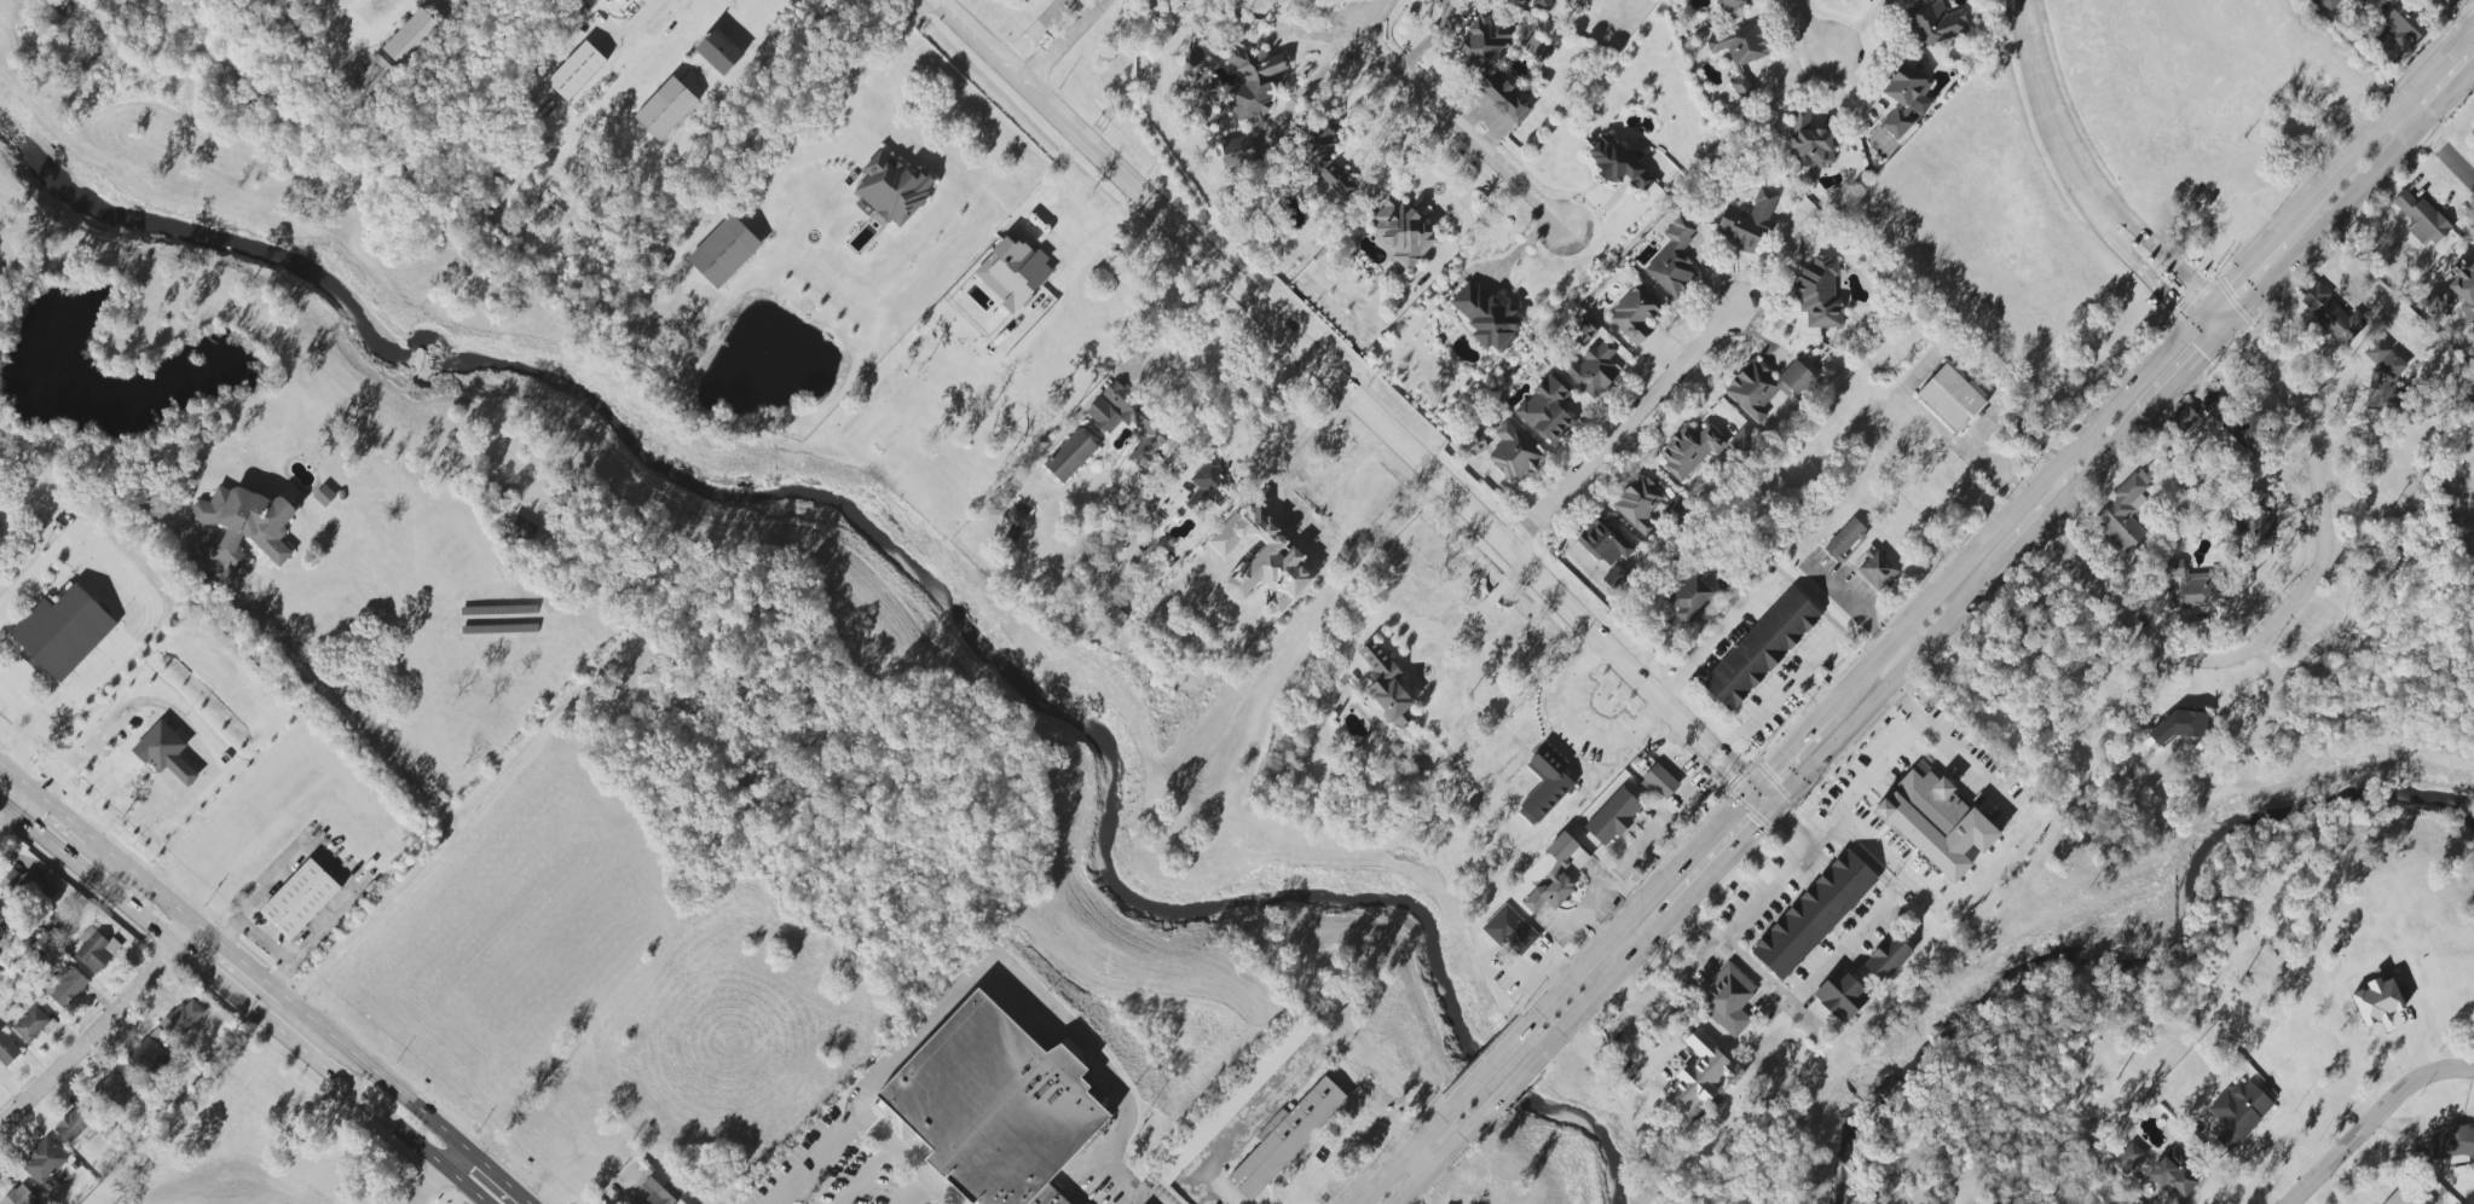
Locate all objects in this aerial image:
building: (270, 0)
building: (2359, 1)
building: (1541, 4)
building: (1733, 4)
building: (2328, 4)
building: (614, 5)
road: (2466, 7)
road: (648, 13)
road: (672, 21)
building: (1933, 23)
road: (1860, 27)
building: (2400, 28)
road: (1807, 29)
road: (1430, 37)
building: (412, 39)
road: (1048, 40)
building: (1739, 45)
building: (718, 51)
building: (1490, 64)
building: (576, 70)
building: (374, 76)
building: (1254, 83)
building: (1741, 87)
road: (2451, 89)
building: (1904, 100)
road: (2042, 100)
building: (665, 109)
road: (1446, 112)
road: (820, 114)
road: (2372, 127)
building: (1809, 141)
building: (1237, 151)
road: (2446, 152)
building: (1323, 163)
building: (1617, 163)
building: (891, 189)
building: (2421, 218)
building: (1747, 220)
road: (2325, 222)
building: (1403, 233)
road: (1097, 236)
road: (2150, 245)
building: (723, 251)
building: (1672, 260)
road: (2133, 261)
road: (2237, 271)
building: (1012, 272)
building: (1817, 294)
building: (2456, 295)
building: (1634, 314)
building: (2331, 314)
building: (1485, 317)
road: (1167, 322)
building: (1590, 361)
road: (1913, 371)
road: (2181, 375)
building: (2382, 378)
building: (1764, 387)
building: (1949, 398)
road: (1352, 405)
building: (1545, 410)
building: (2224, 413)
road: (1239, 415)
building: (1128, 421)
road: (1619, 432)
building: (1741, 440)
building: (1473, 445)
building: (1687, 451)
road: (2111, 451)
building: (1513, 452)
building: (1071, 456)
building: (1209, 488)
building: (323, 494)
building: (341, 494)
building: (1640, 504)
road: (2062, 505)
road: (2035, 510)
building: (2123, 513)
building: (248, 517)
building: (2254, 519)
building: (1844, 539)
building: (1603, 543)
road: (2025, 543)
building: (1260, 558)
building: (1875, 571)
building: (1613, 577)
building: (2196, 585)
road: (133, 589)
road: (2300, 594)
building: (1687, 600)
road: (1470, 618)
building: (2034, 627)
building: (62, 630)
road: (1716, 638)
building: (1761, 648)
road: (1869, 664)
road: (1894, 684)
building: (1386, 685)
road: (1814, 690)
road: (1775, 697)
road: (343, 708)
road: (48, 719)
road: (1578, 729)
road: (200, 741)
building: (164, 752)
road: (1881, 764)
road: (69, 766)
road: (1967, 766)
road: (11, 774)
building: (1660, 781)
road: (121, 785)
building: (1544, 785)
traffic signals: (1755, 786)
road: (10, 797)
road: (54, 810)
traffic signals: (1779, 810)
building: (1348, 812)
building: (1612, 816)
building: (1933, 822)
road: (1658, 830)
road: (1740, 850)
building: (1577, 858)
road: (418, 863)
road: (329, 866)
building: (1553, 876)
road: (135, 881)
building: (27, 887)
road: (1763, 892)
building: (301, 899)
road: (1688, 903)
building: (1813, 914)
building: (1, 926)
building: (1509, 931)
road: (262, 943)
road: (1842, 947)
building: (94, 949)
road: (219, 950)
building: (1886, 959)
road: (1011, 976)
road: (1619, 976)
road: (222, 984)
building: (65, 986)
road: (1664, 986)
road: (266, 990)
building: (1839, 995)
building: (1726, 998)
building: (2376, 1001)
building: (181, 1019)
building: (30, 1024)
road: (97, 1031)
building: (7, 1050)
building: (145, 1053)
road: (1487, 1065)
road: (372, 1073)
building: (1699, 1073)
road: (1514, 1087)
building: (114, 1089)
building: (1232, 1101)
building: (990, 1106)
building: (2238, 1111)
road: (2371, 1118)
building: (73, 1124)
road: (1238, 1133)
building: (1284, 1139)
building: (2453, 1145)
road: (1345, 1152)
road: (901, 1154)
building: (2128, 1157)
road: (455, 1158)
road: (1398, 1160)
building: (42, 1162)
road: (809, 1165)
road: (1416, 1165)
road: (1433, 1171)
road: (867, 1175)
building: (2172, 1175)
road: (495, 1176)
road: (427, 1183)
road: (464, 1186)
road: (1122, 1187)
building: (659, 1188)
road: (917, 1193)
building: (1045, 1197)
building: (17, 1203)
building: (653, 1203)
building: (680, 1203)

